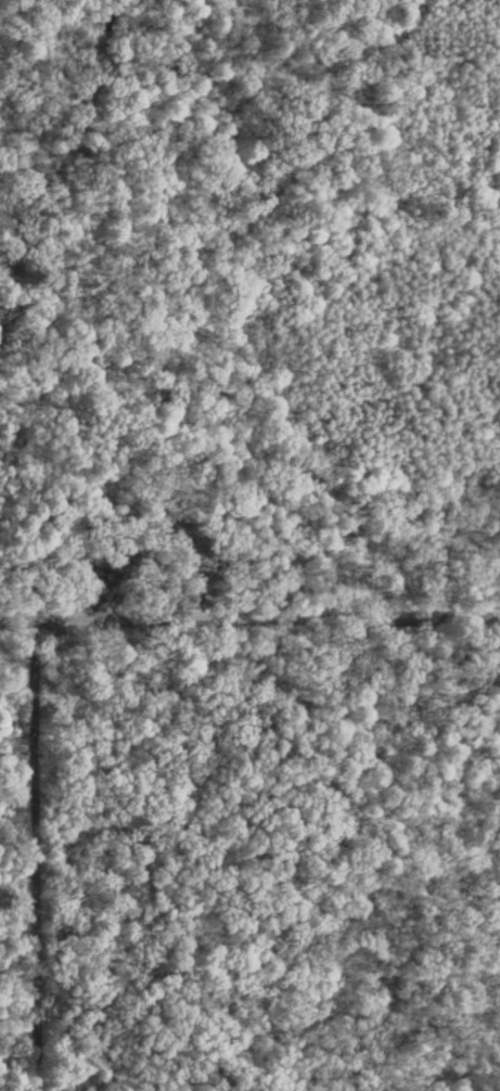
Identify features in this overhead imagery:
road: (249, 601)
road: (31, 840)

